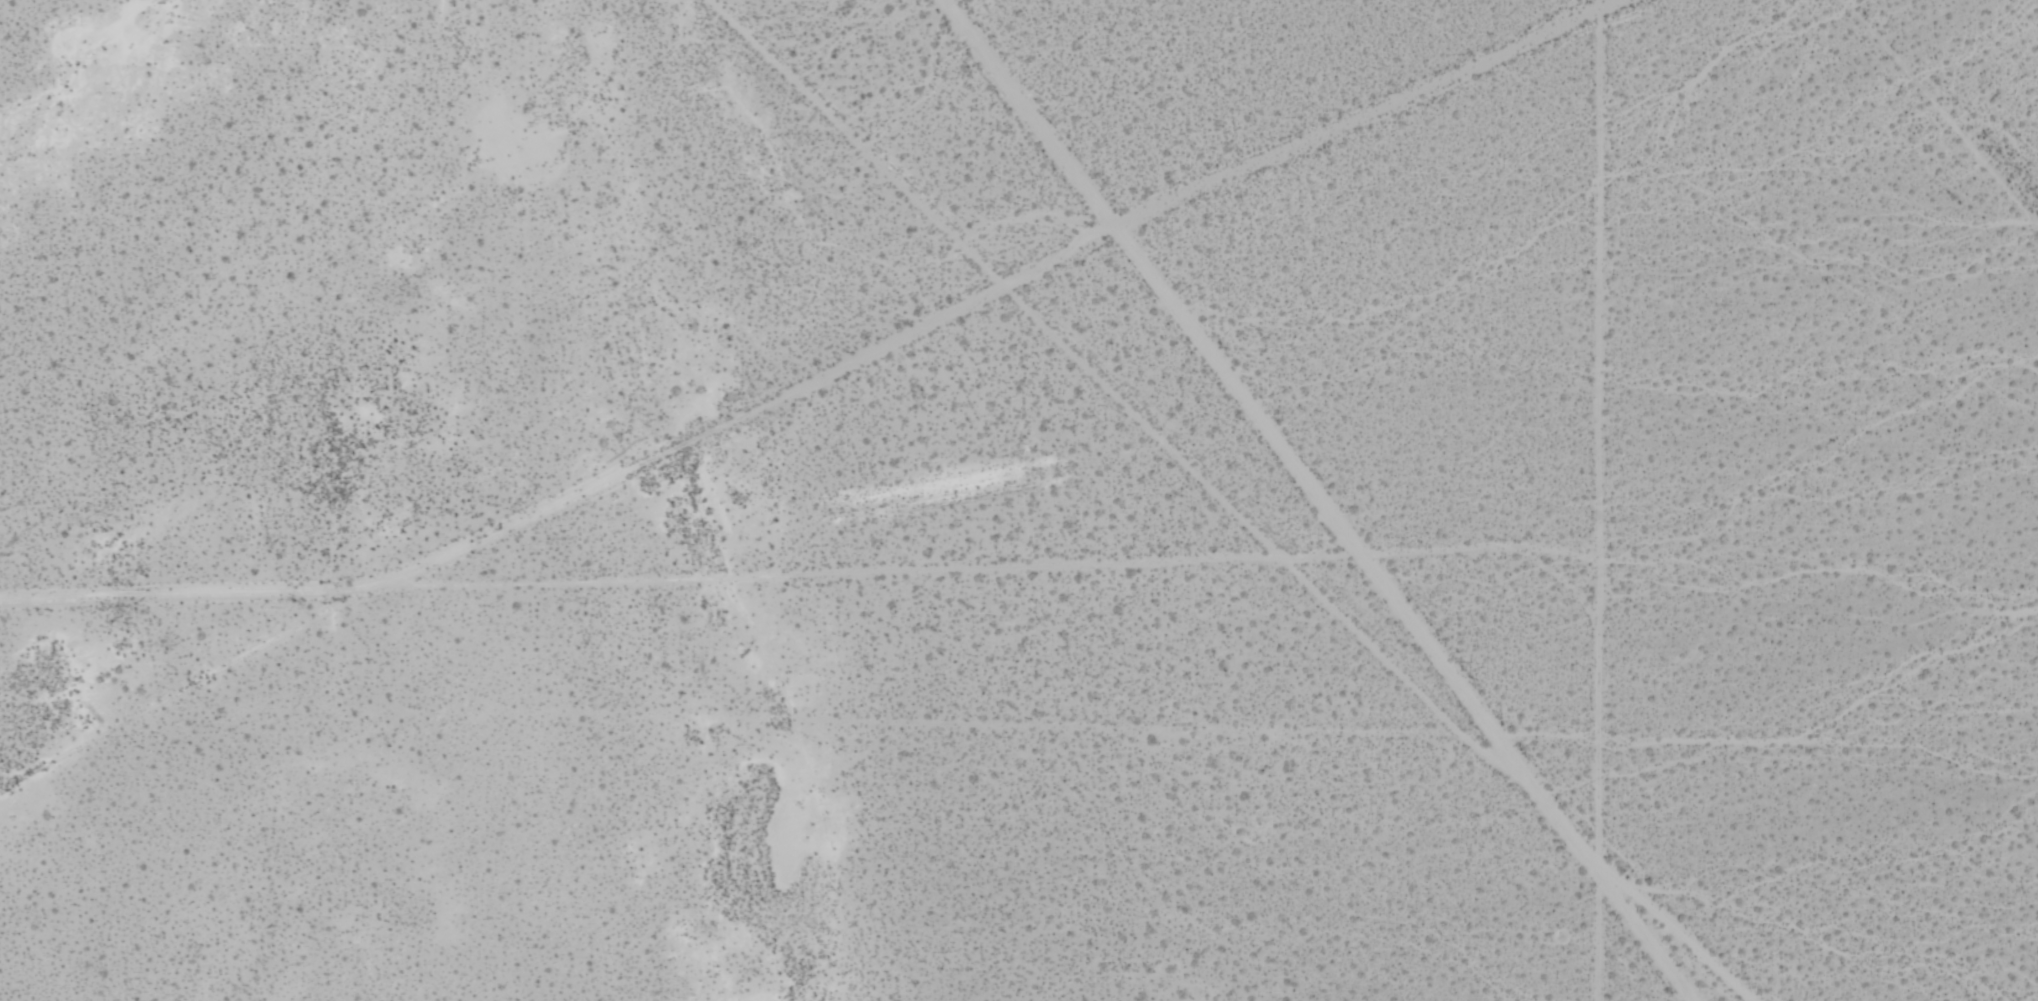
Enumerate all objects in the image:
road: (1614, 500)

